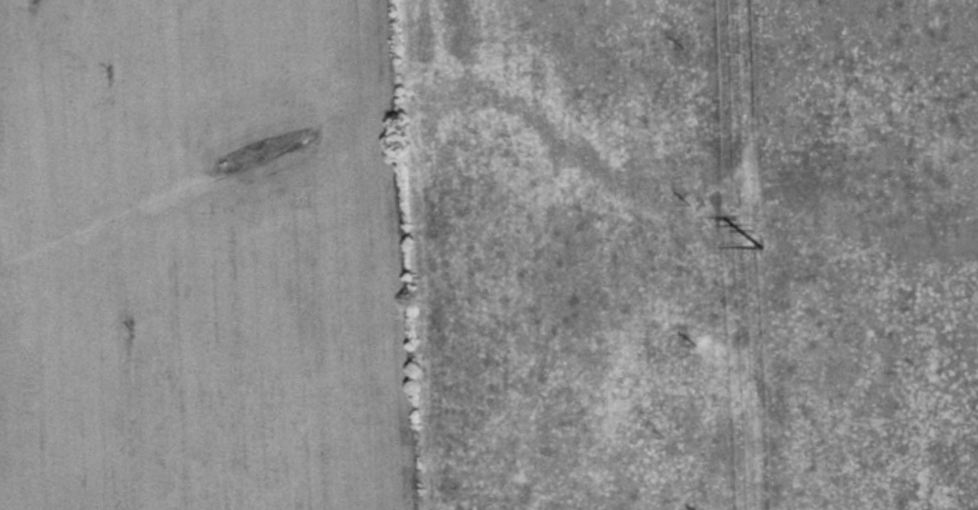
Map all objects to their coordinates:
power tower: (758, 249)

